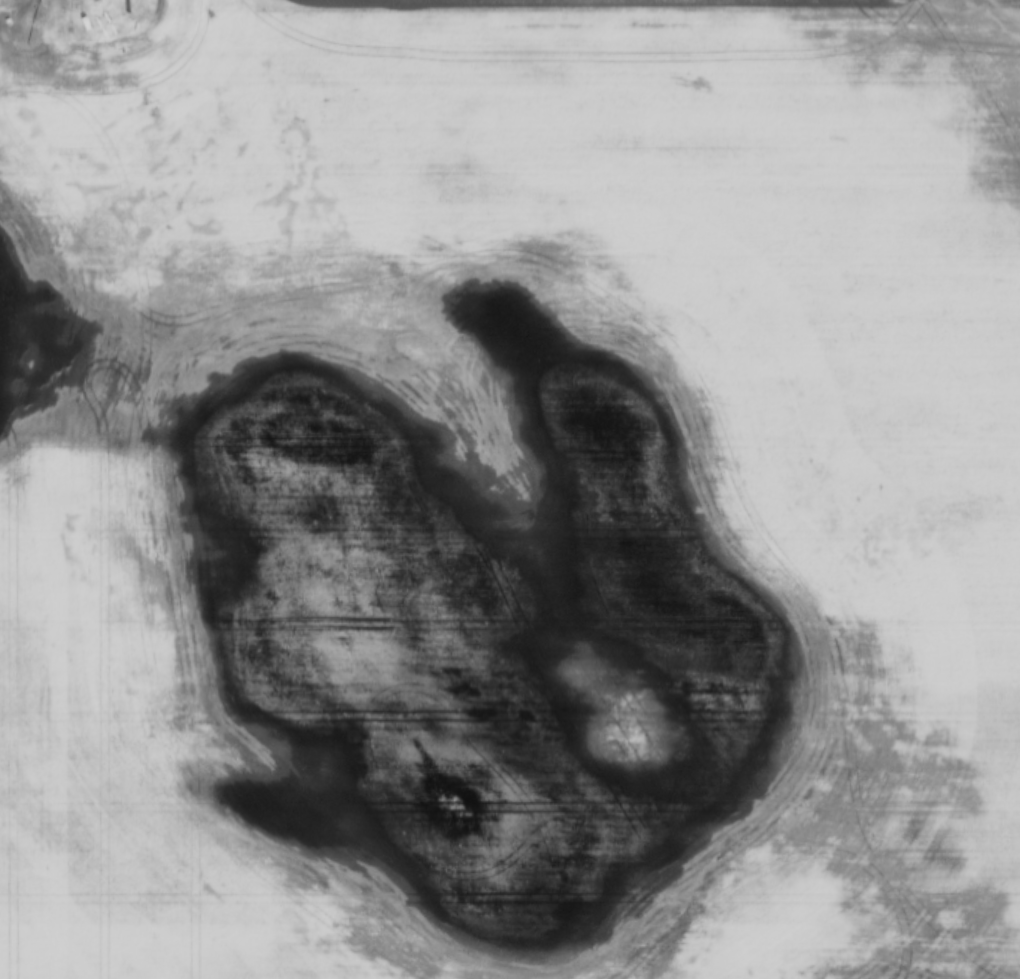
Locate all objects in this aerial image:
road: (23, 7)
crop: (124, 71)

